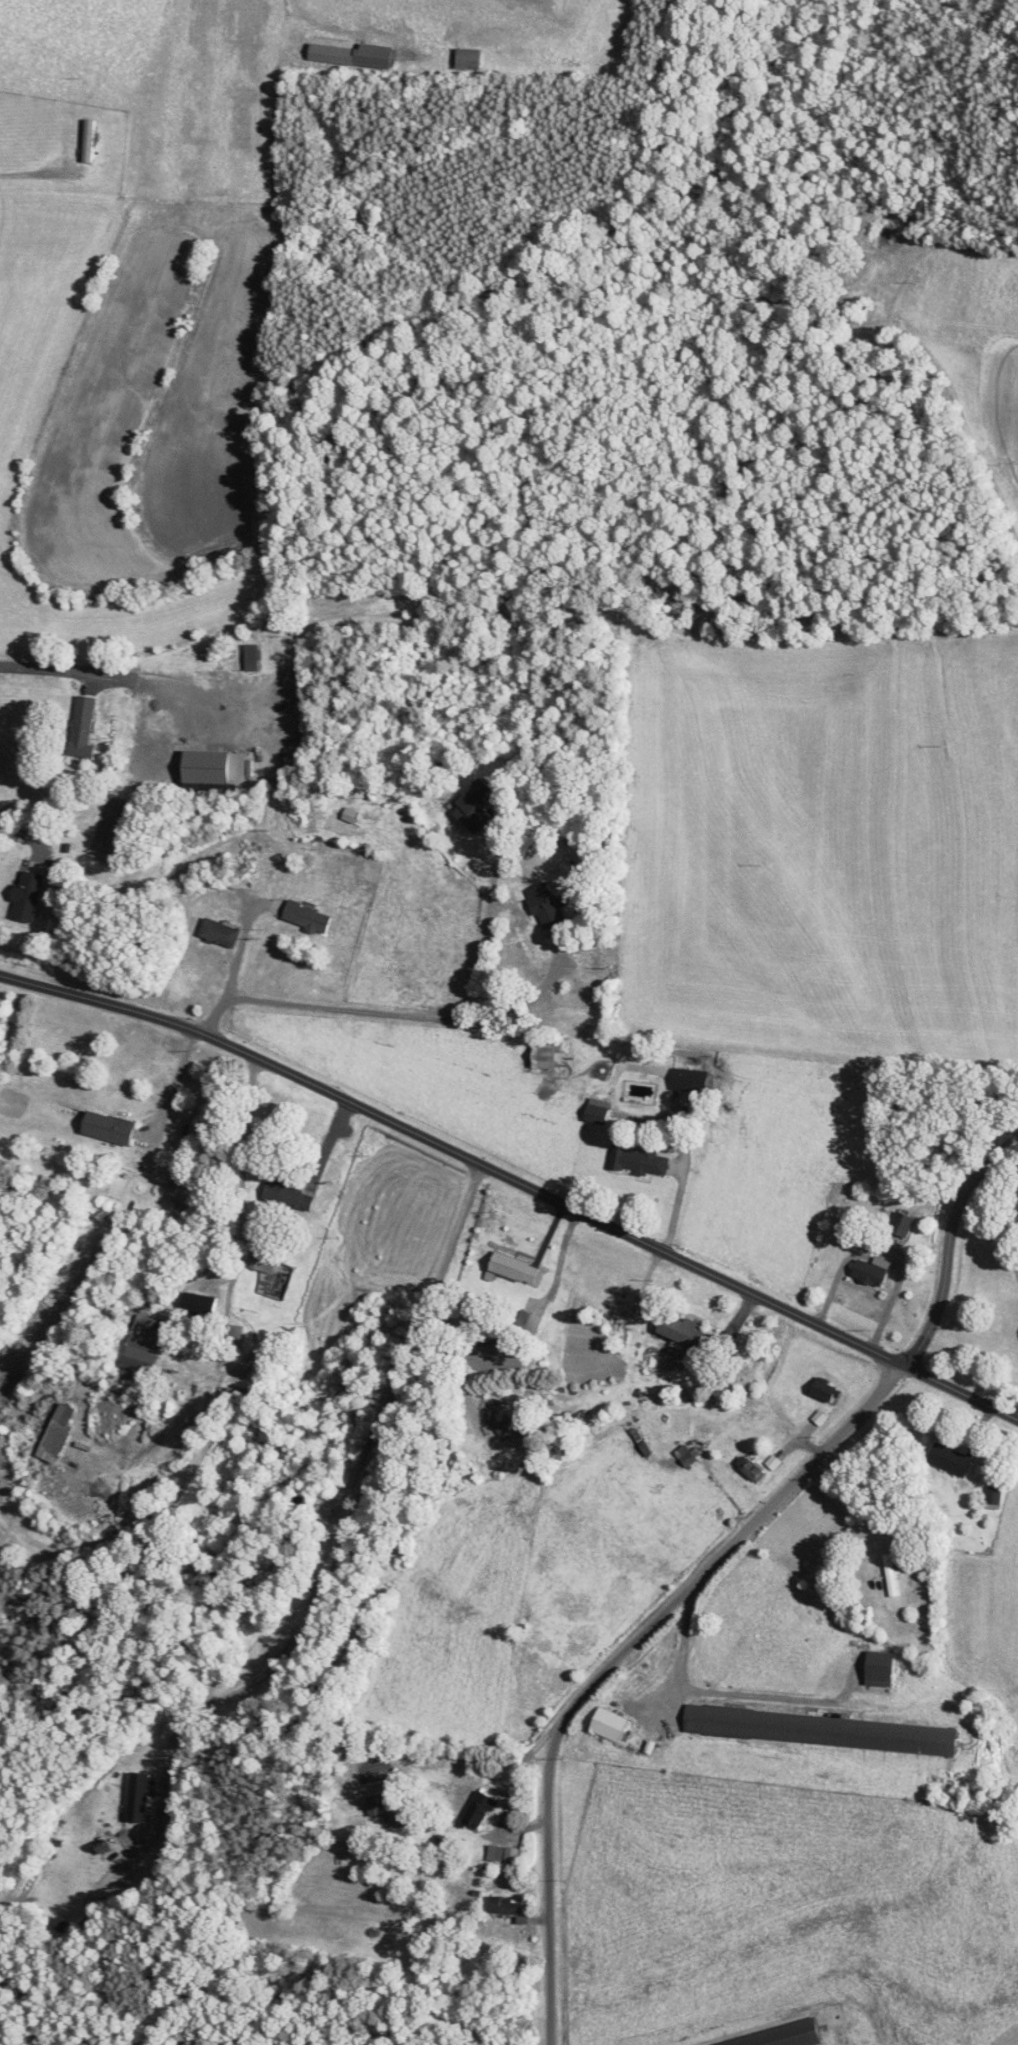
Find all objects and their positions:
building: (467, 4)
building: (380, 16)
building: (356, 54)
building: (474, 58)
building: (195, 75)
building: (246, 77)
road: (27, 173)
building: (255, 655)
road: (107, 674)
building: (86, 727)
building: (217, 767)
building: (477, 806)
road: (26, 833)
road: (492, 886)
building: (28, 896)
building: (552, 907)
building: (311, 917)
building: (225, 933)
road: (239, 953)
road: (489, 986)
road: (329, 1009)
building: (549, 1056)
building: (694, 1081)
road: (173, 1088)
building: (600, 1111)
building: (112, 1128)
building: (642, 1160)
road: (683, 1172)
road: (515, 1181)
building: (293, 1196)
building: (900, 1227)
road: (948, 1244)
building: (520, 1268)
building: (269, 1269)
building: (864, 1273)
building: (203, 1305)
building: (533, 1324)
building: (689, 1330)
building: (151, 1344)
building: (283, 1348)
building: (827, 1388)
building: (245, 1397)
building: (60, 1432)
building: (688, 1455)
building: (951, 1458)
building: (754, 1467)
road: (338, 1527)
building: (893, 1574)
road: (616, 1661)
building: (612, 1724)
building: (826, 1730)
building: (379, 1804)
building: (481, 1810)
building: (497, 1853)
building: (507, 1905)
building: (782, 2037)

